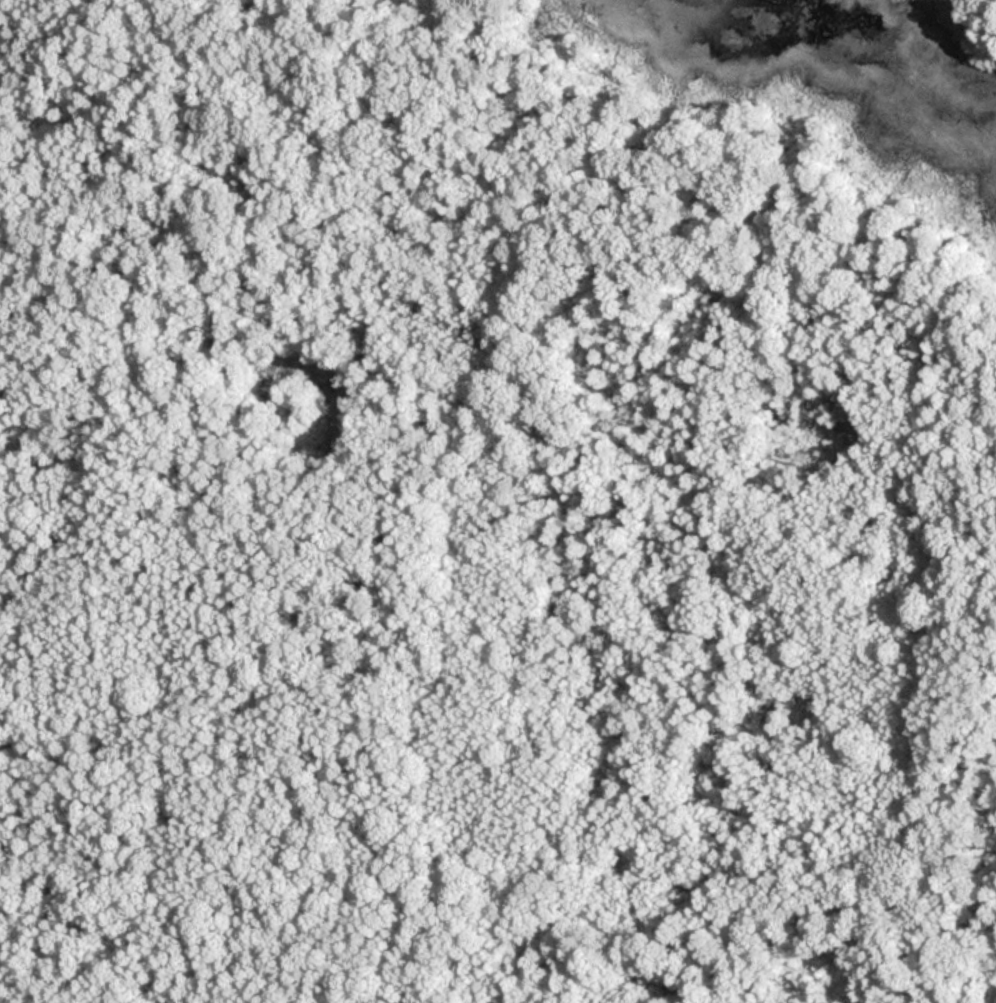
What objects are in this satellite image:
park: (498, 501)

